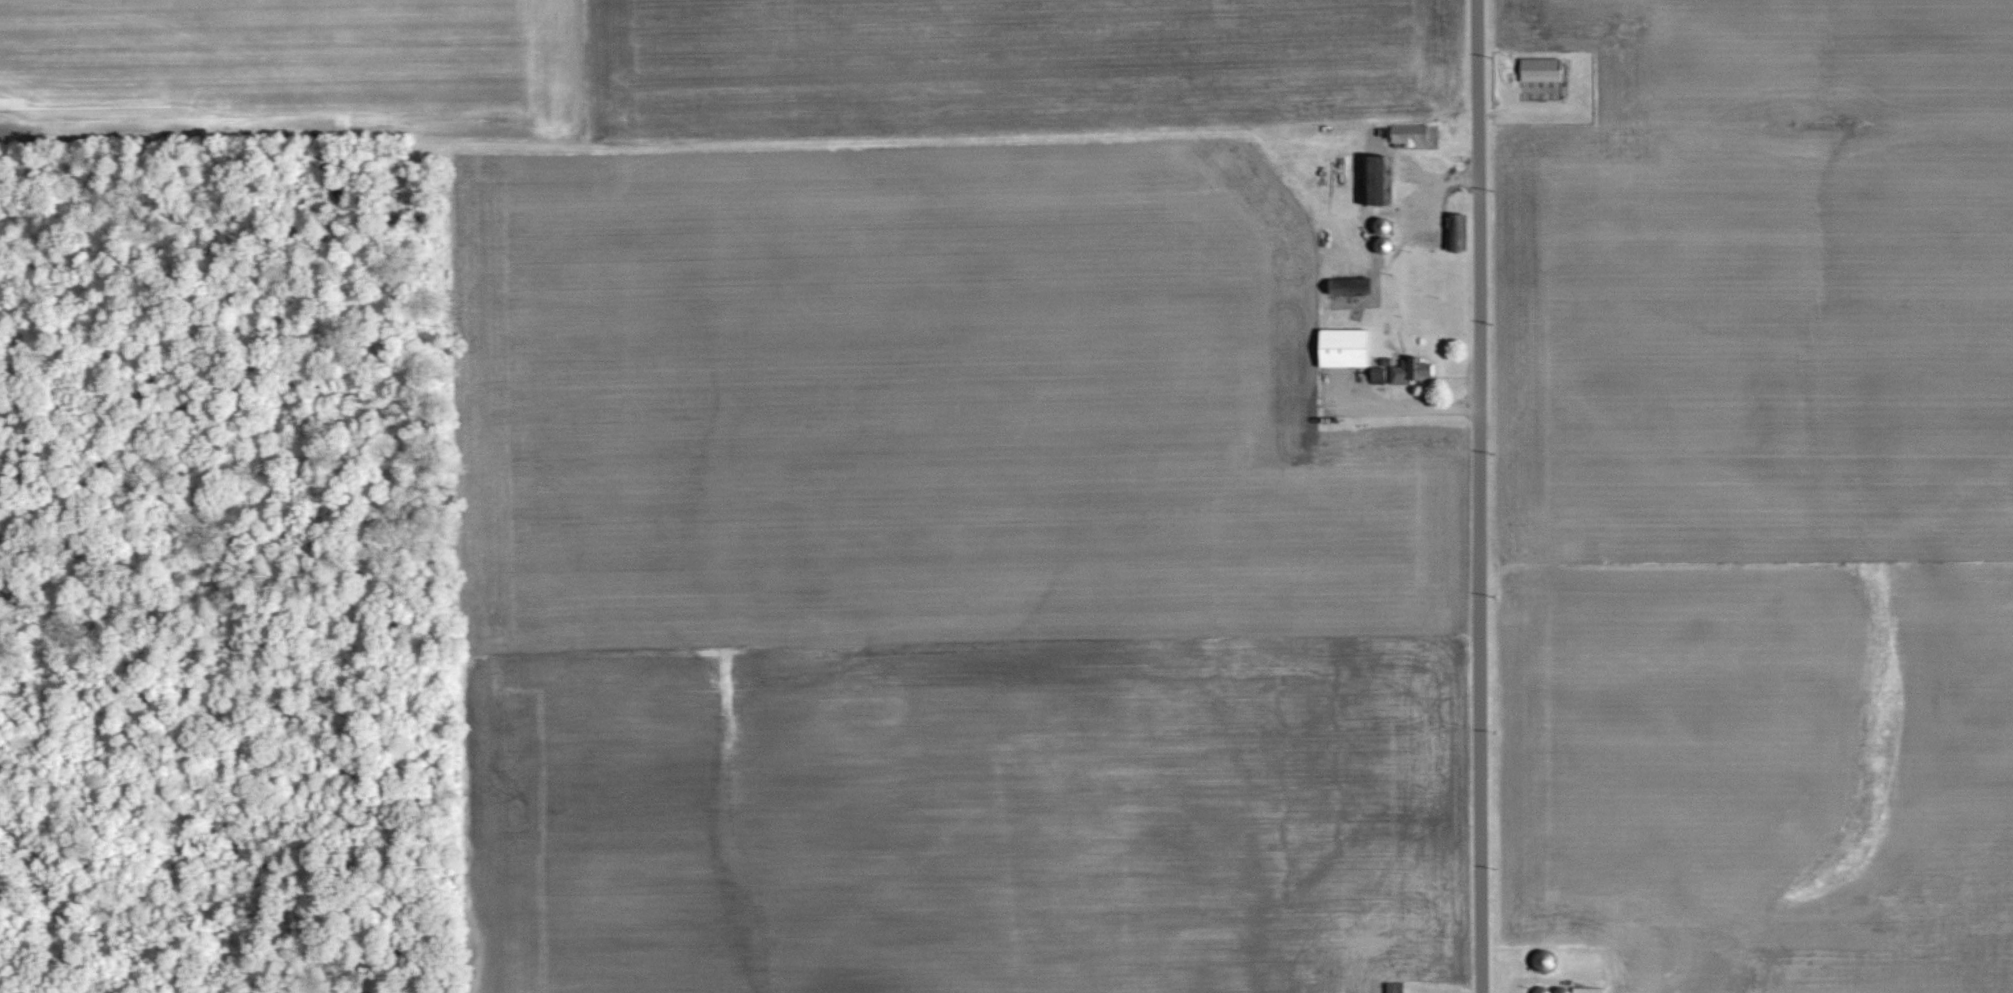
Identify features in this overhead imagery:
building: (1543, 69)
building: (1409, 133)
building: (1380, 184)
building: (1346, 348)
building: (1415, 371)
road: (1405, 406)
road: (1487, 496)
building: (1395, 987)
building: (1581, 989)

